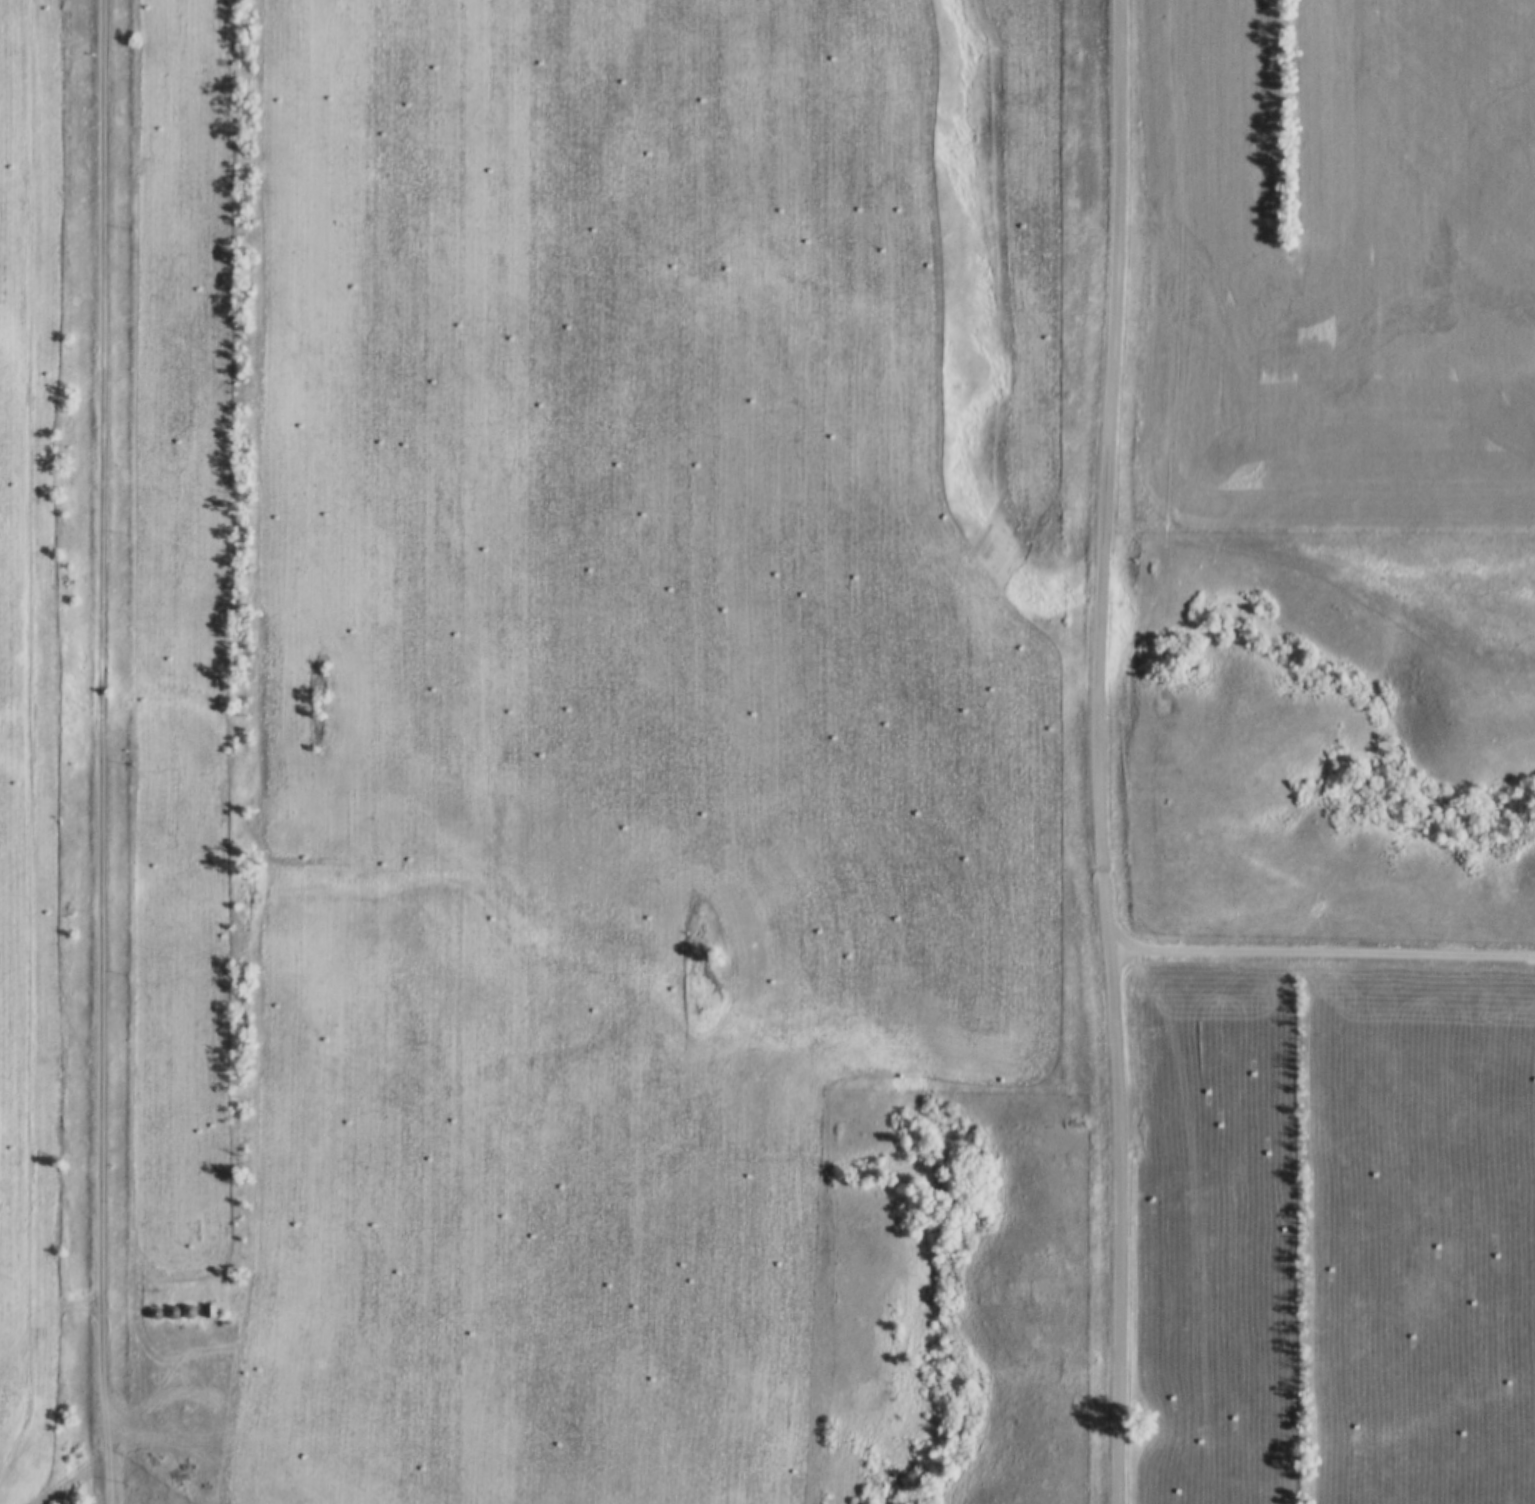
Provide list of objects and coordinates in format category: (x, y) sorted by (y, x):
road: (103, 752)
road: (1102, 752)
road: (1324, 959)
building: (181, 1493)

